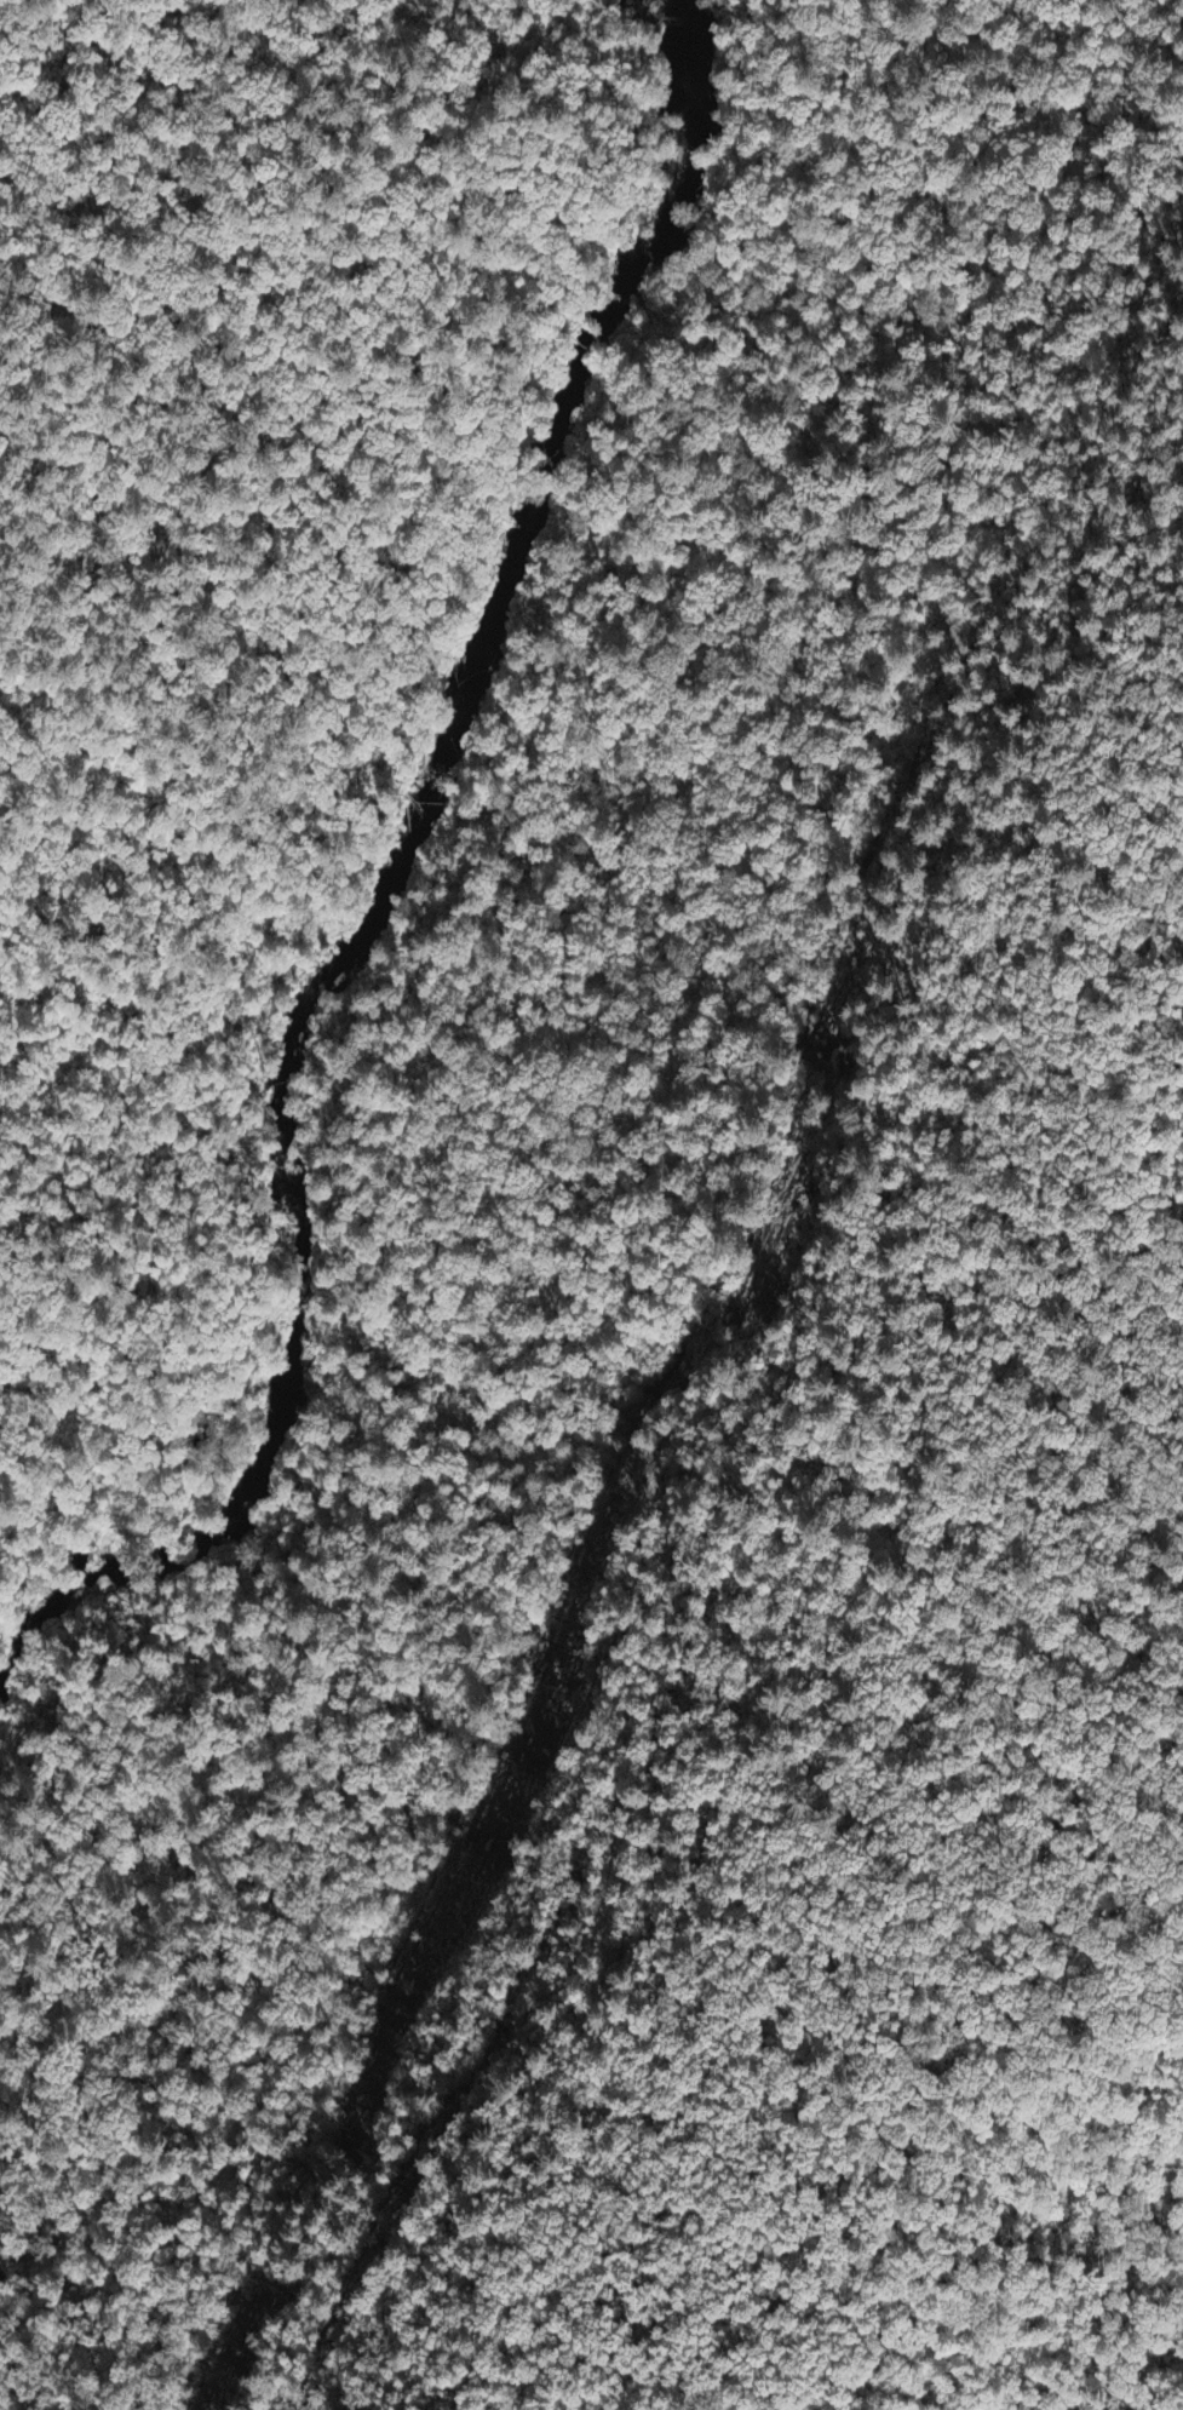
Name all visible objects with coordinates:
river: (373, 911)

